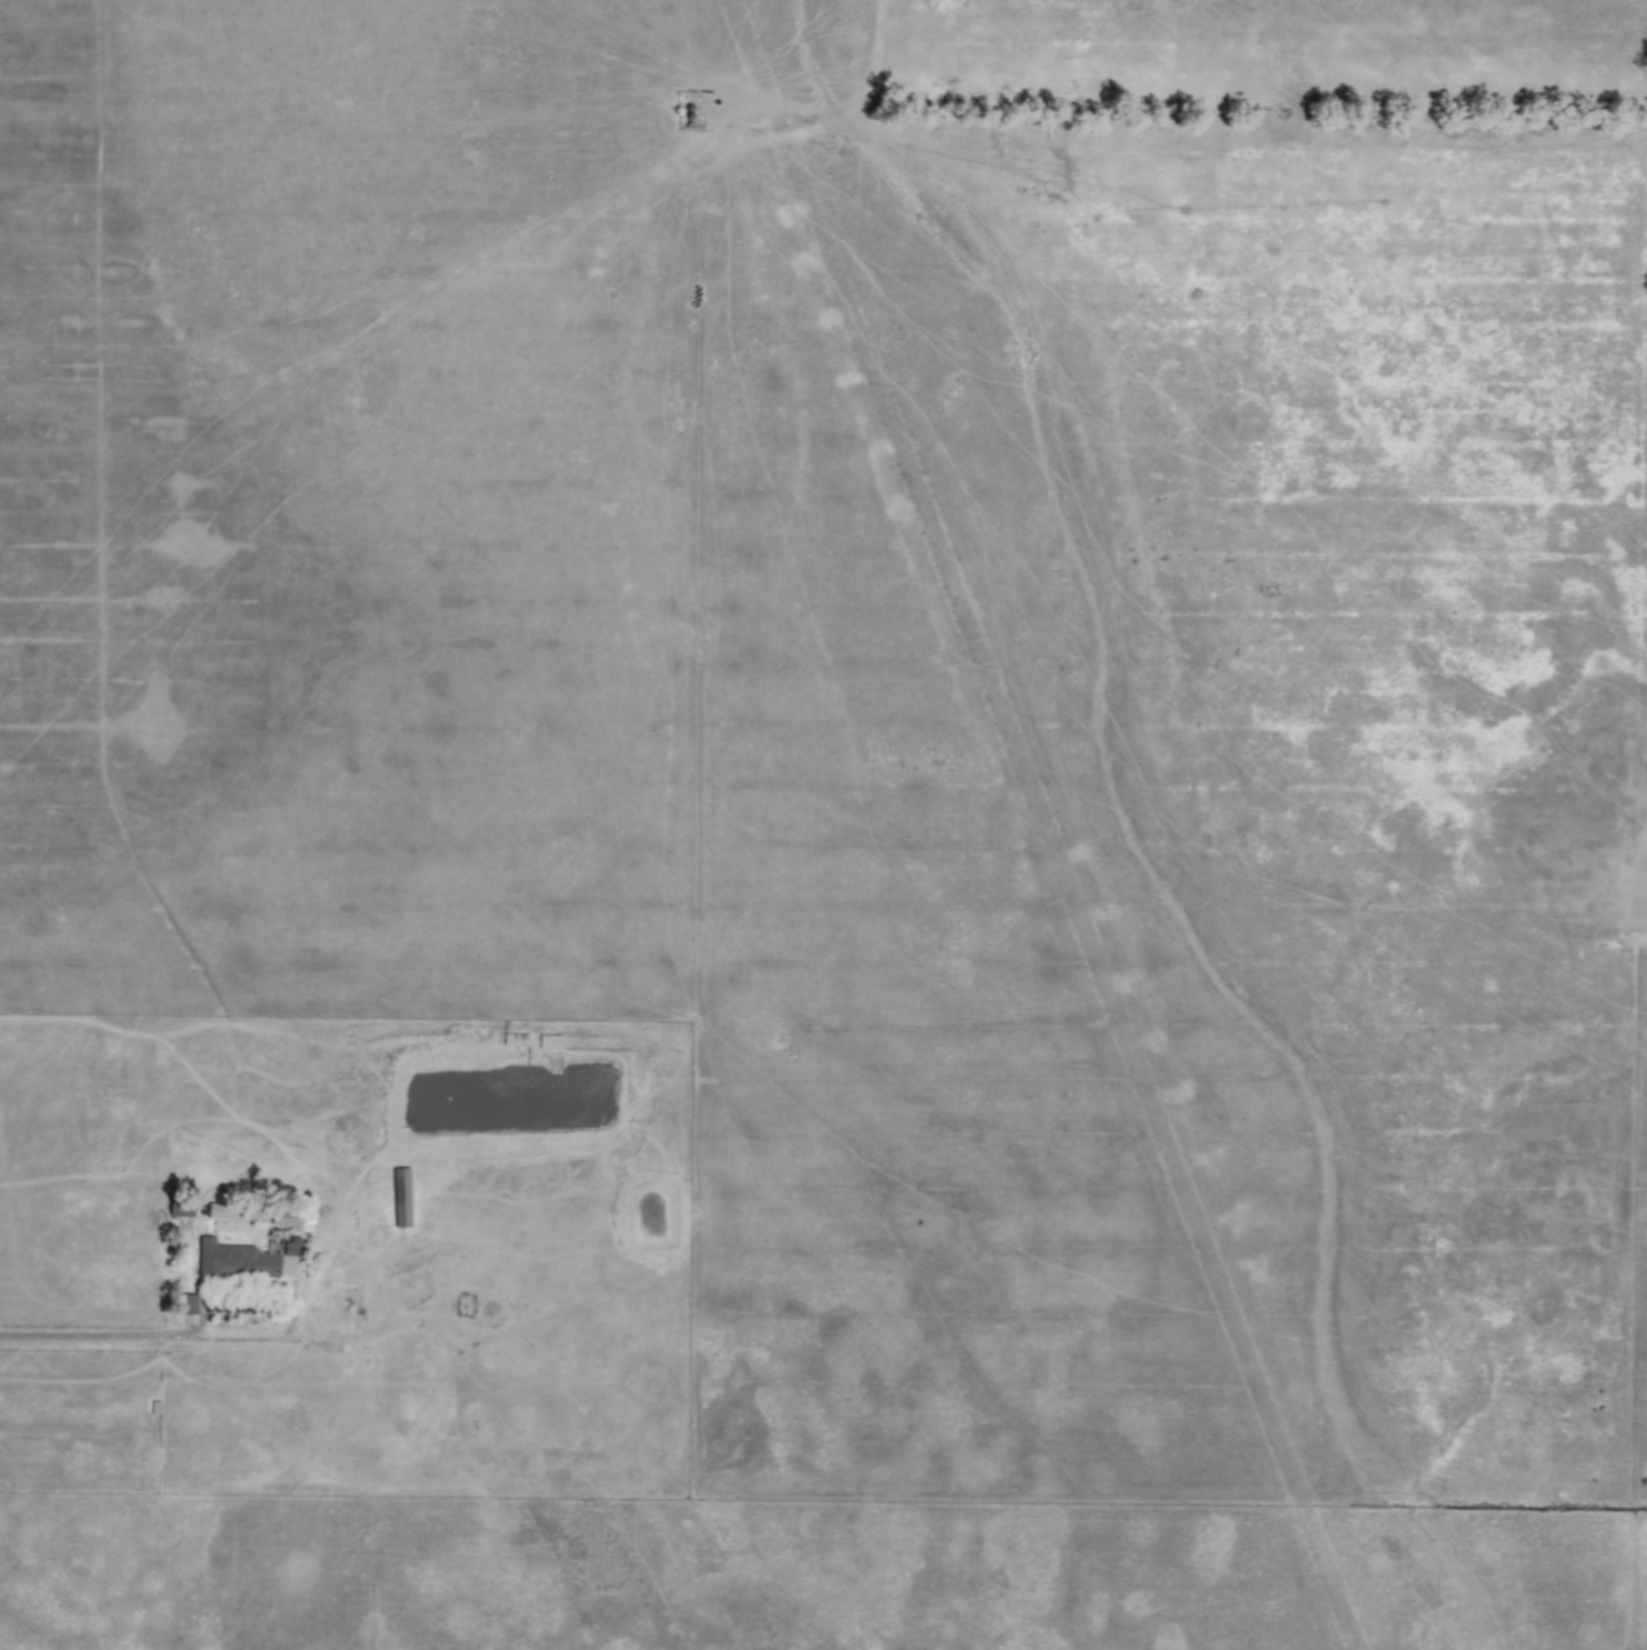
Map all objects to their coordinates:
building: (401, 1197)
building: (291, 1247)
building: (234, 1260)
road: (226, 1338)

